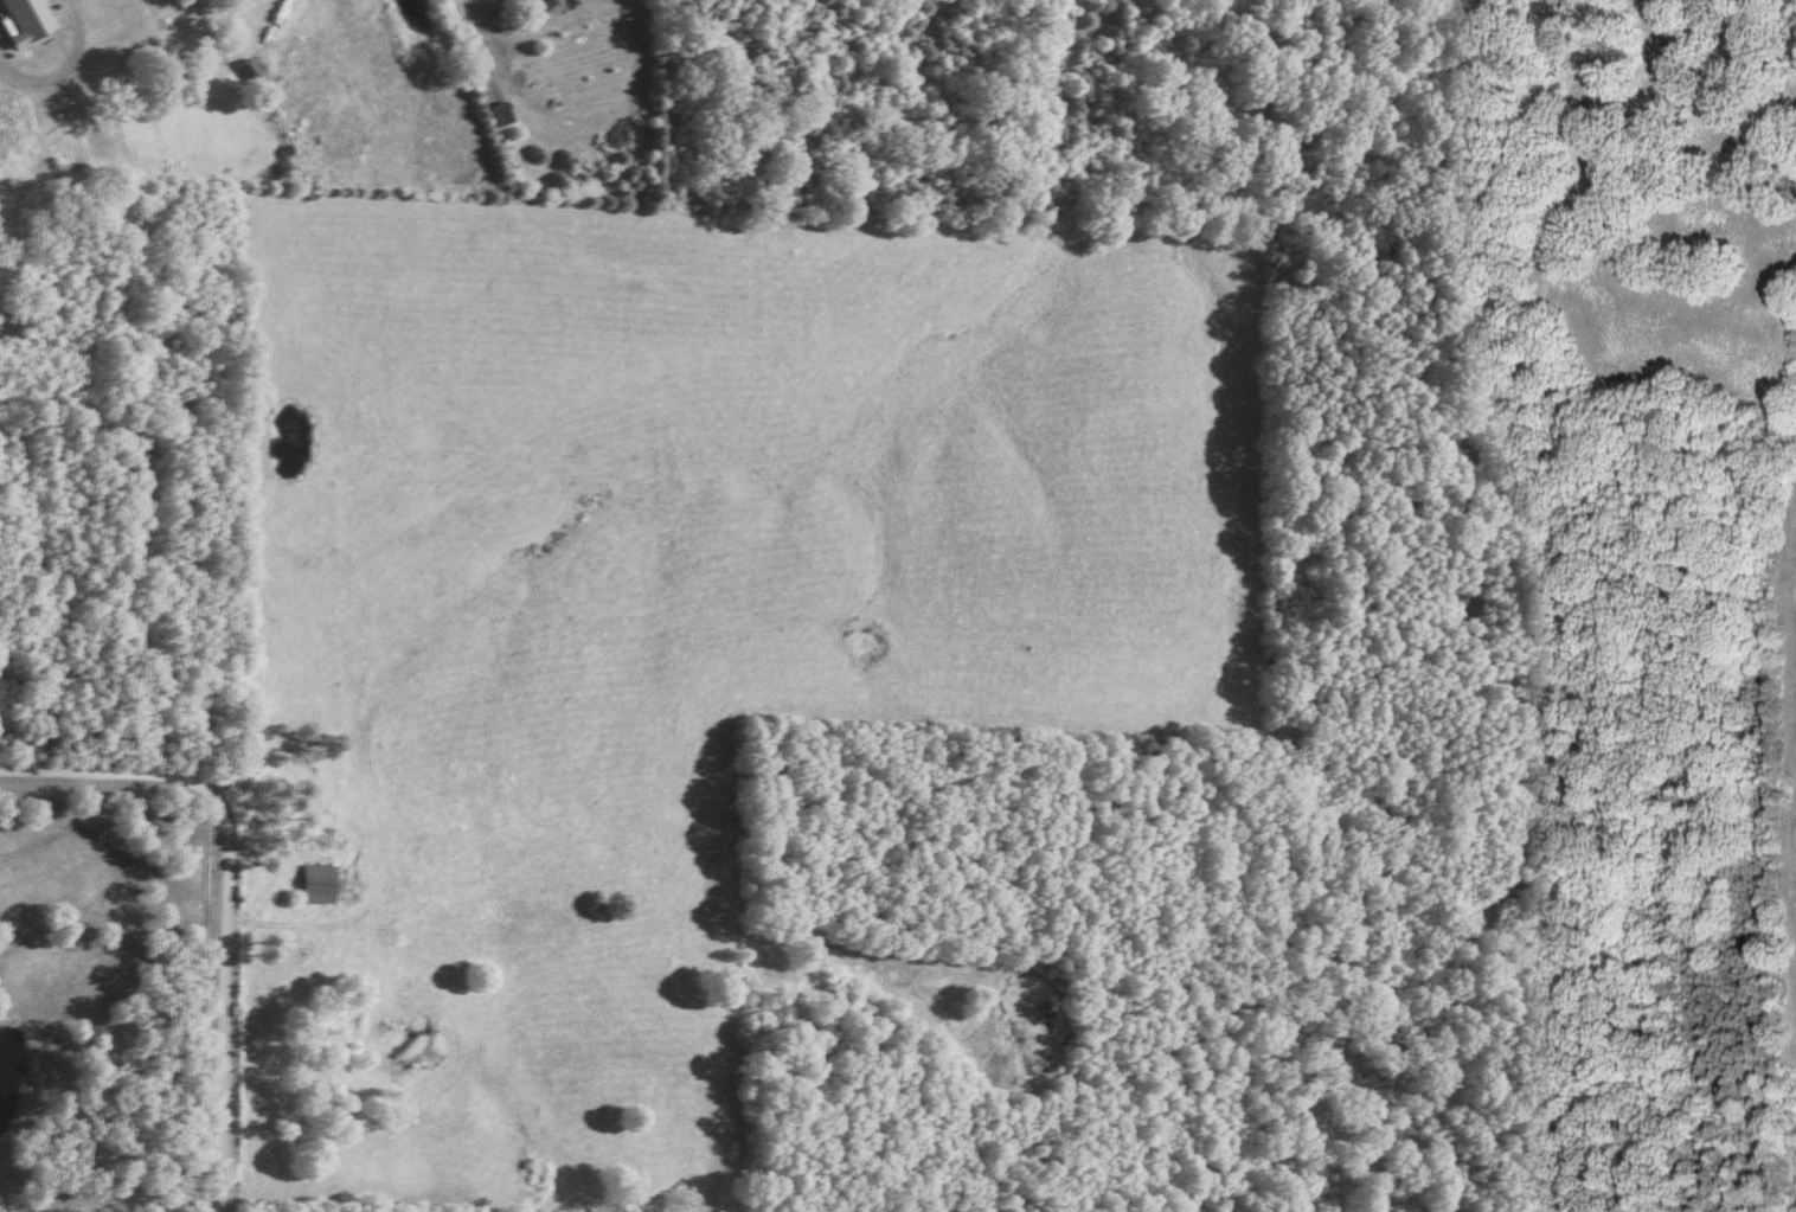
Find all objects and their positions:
building: (36, 19)
building: (323, 881)
road: (230, 887)

